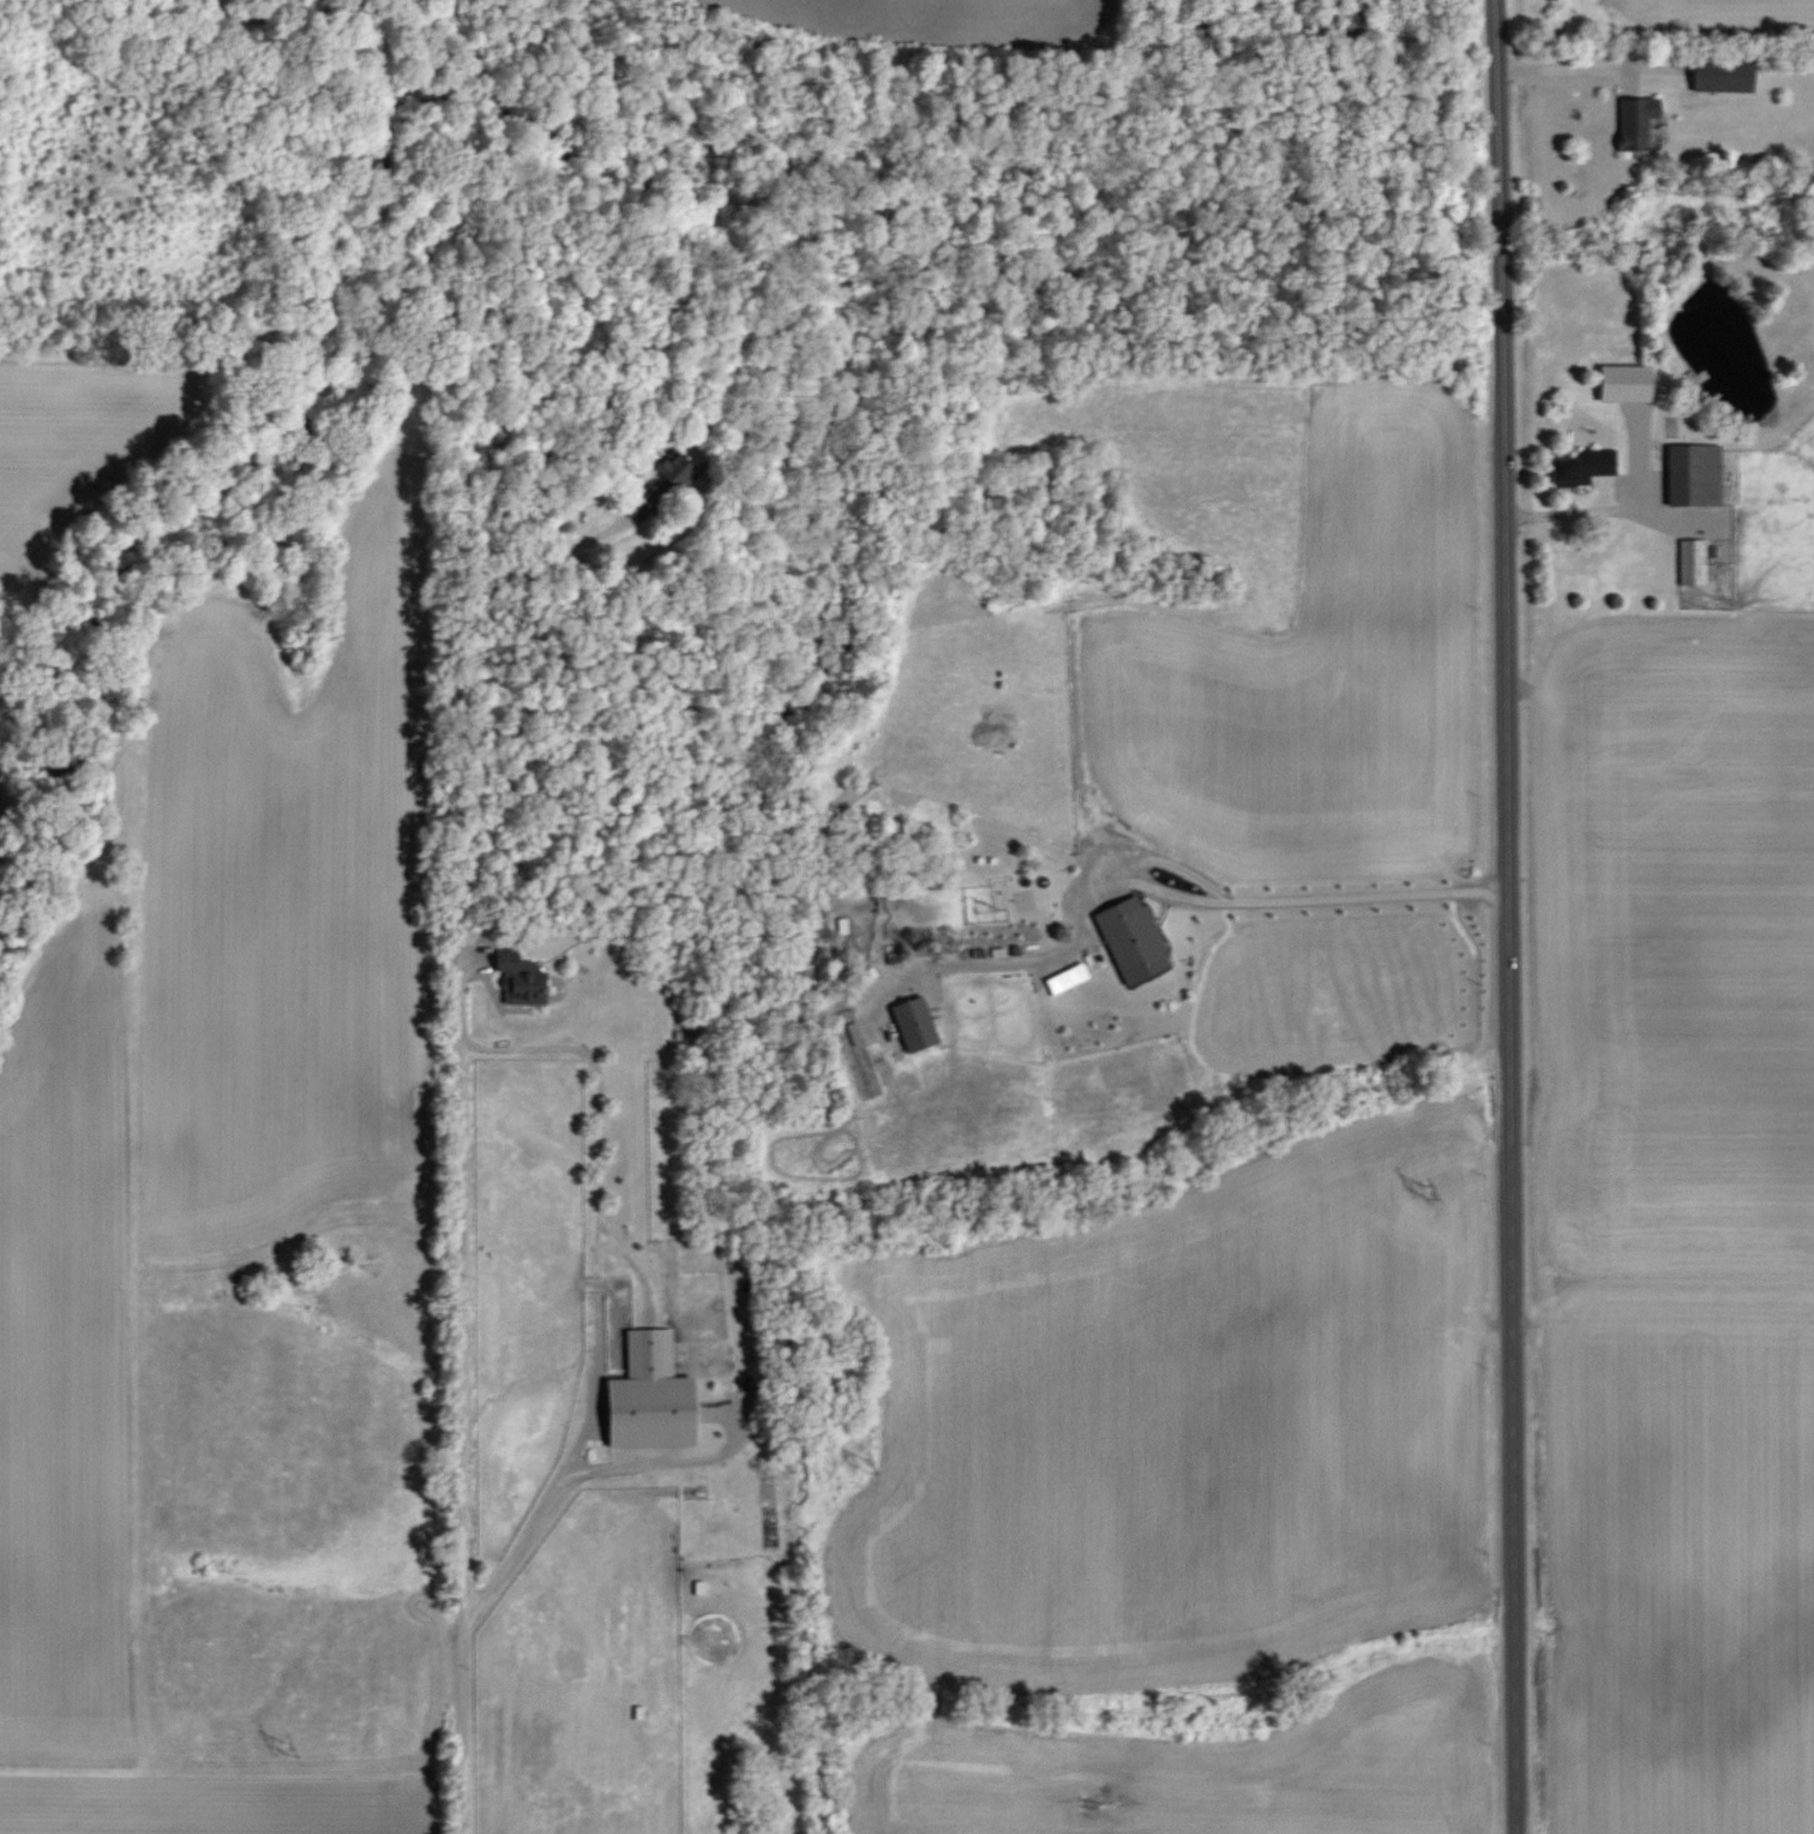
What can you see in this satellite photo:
road: (1573, 70)
building: (1722, 76)
building: (1635, 121)
building: (1623, 383)
building: (1581, 467)
building: (674, 468)
building: (1693, 475)
road: (1604, 511)
building: (1692, 562)
road: (1163, 892)
road: (1510, 916)
building: (1131, 939)
road: (457, 947)
building: (1065, 978)
building: (913, 1023)
road: (601, 1122)
power tower: (1424, 1194)
building: (649, 1396)
road: (668, 1464)
power tower: (866, 1467)
road: (509, 1563)
power tower: (284, 1749)

